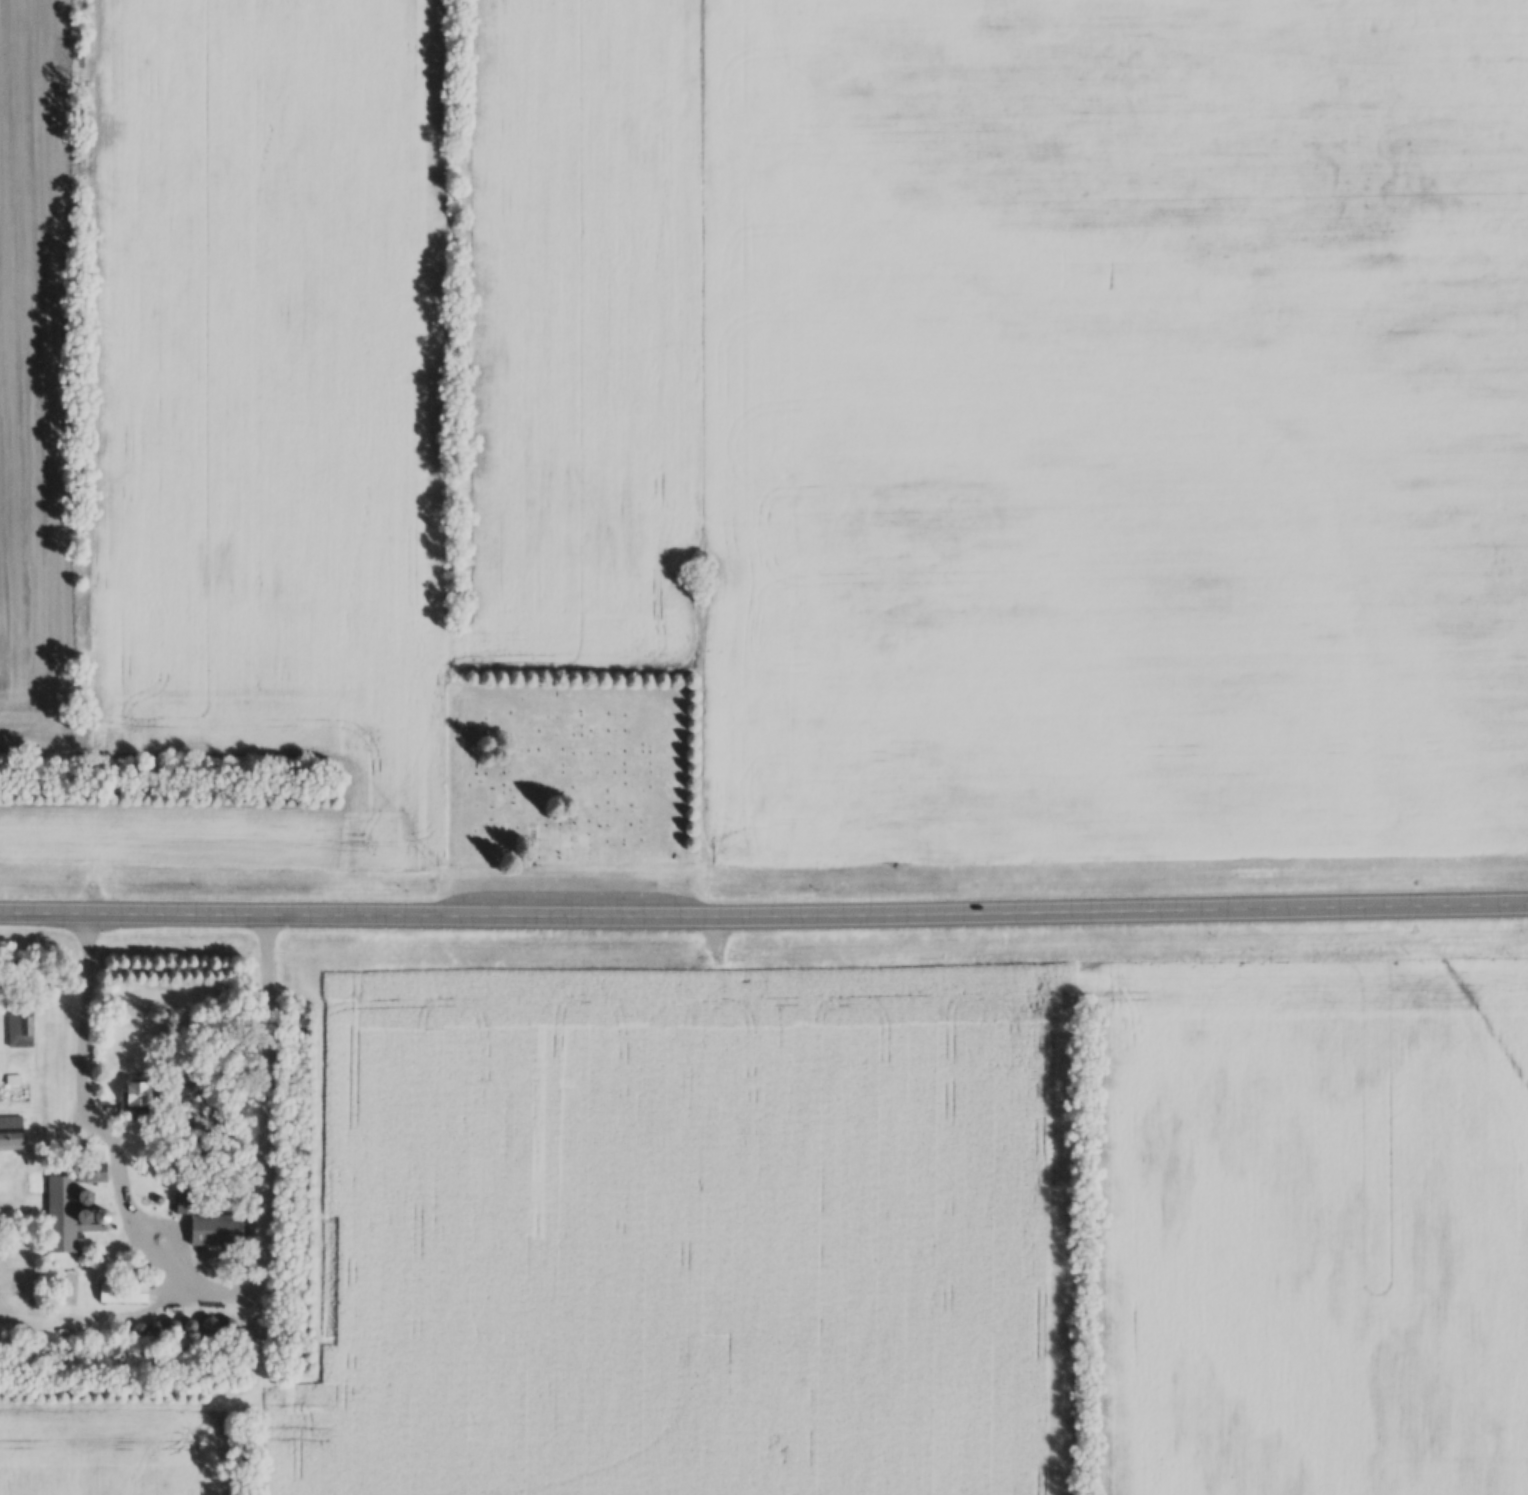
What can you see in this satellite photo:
road: (764, 916)
building: (20, 1029)
building: (138, 1096)
building: (13, 1135)
building: (72, 1215)
building: (225, 1235)
building: (134, 1294)

